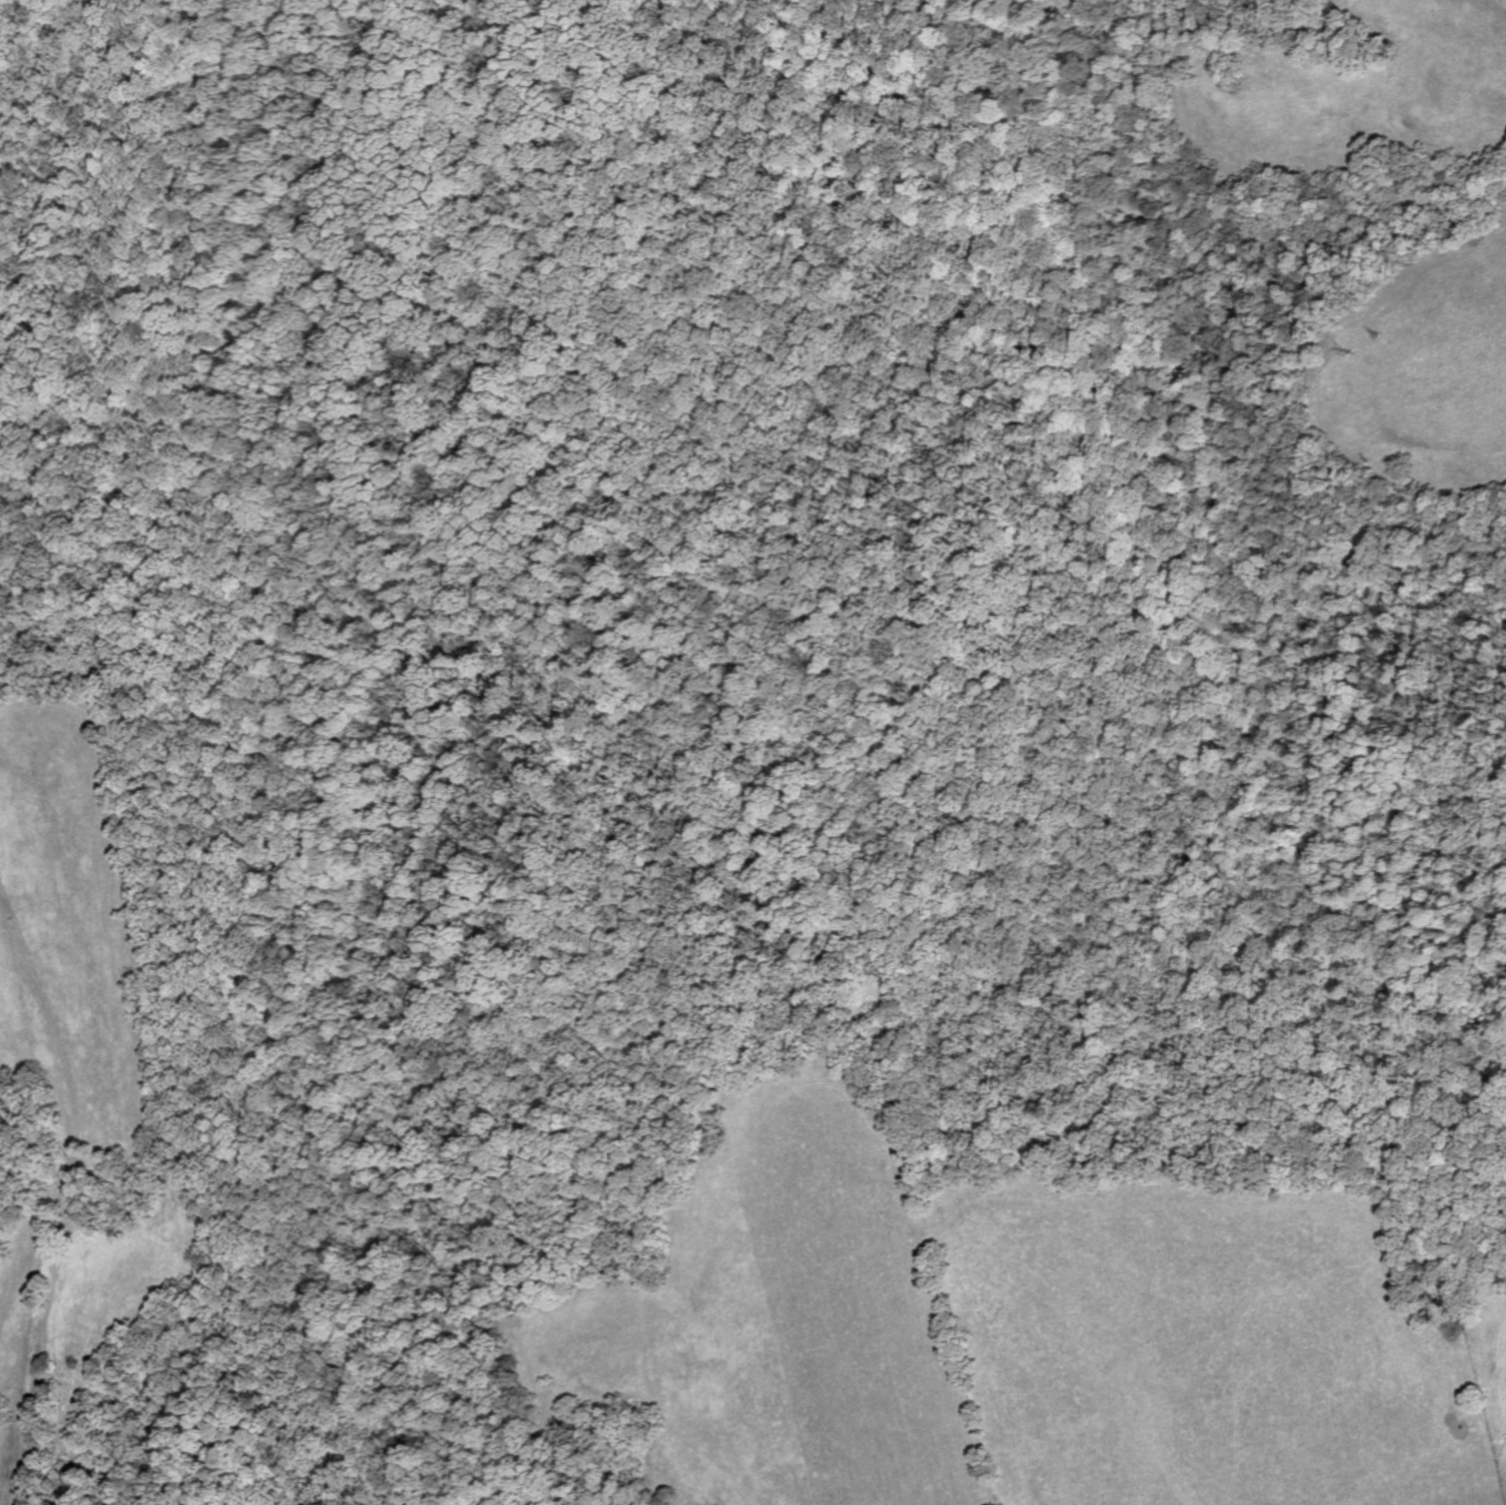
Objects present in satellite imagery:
park: (1473, 1293)

